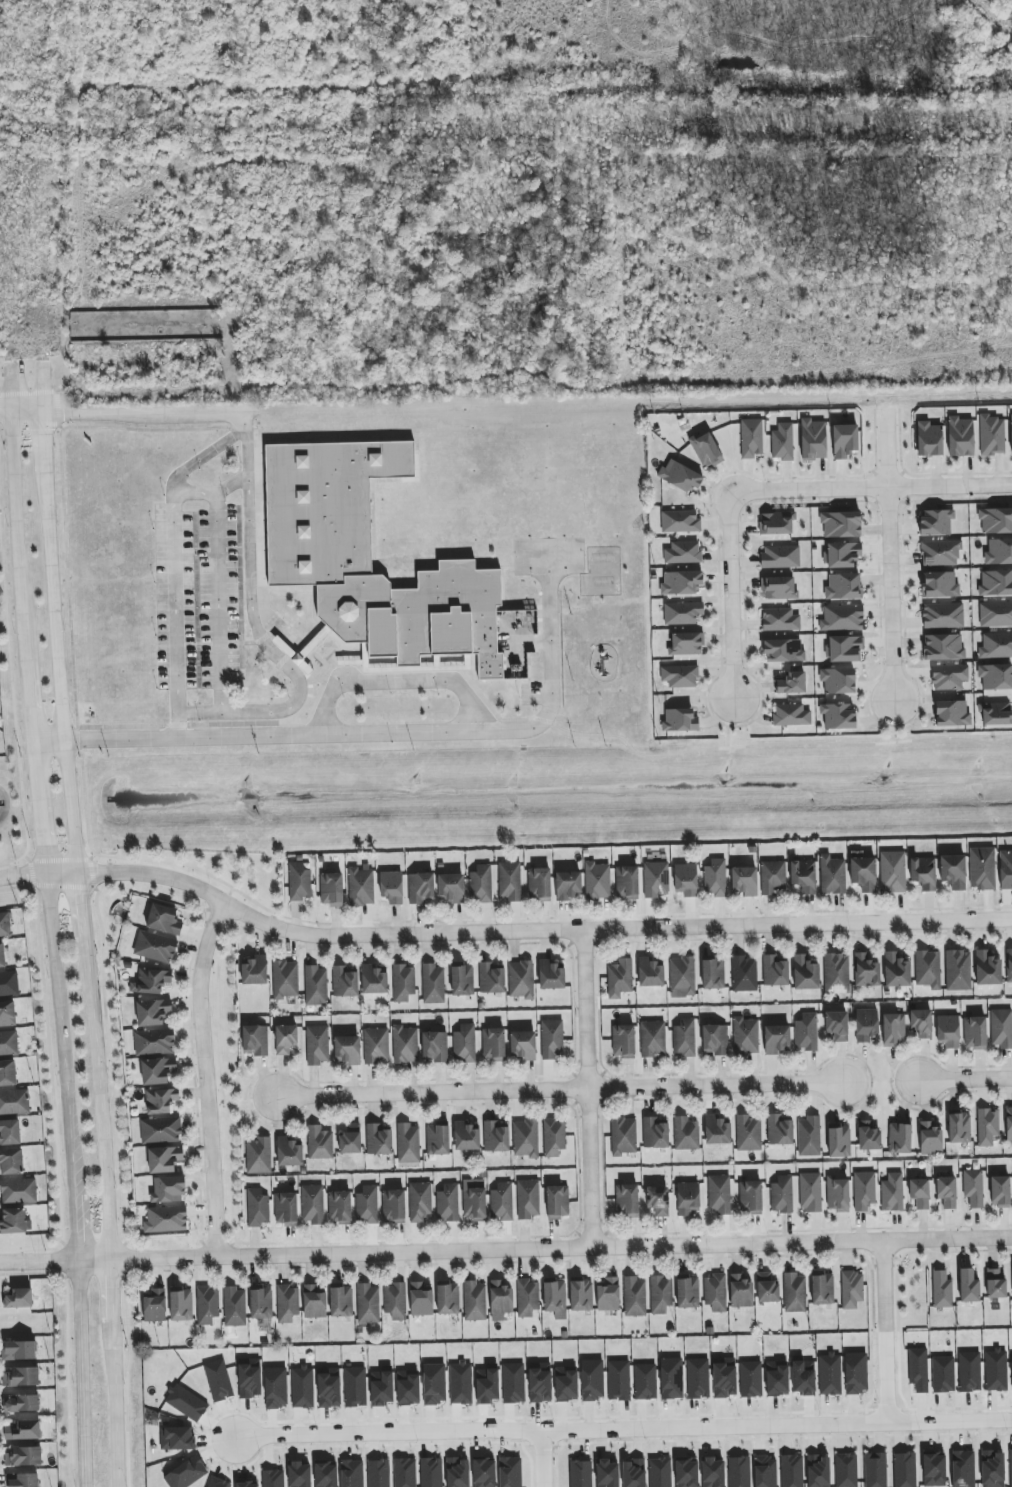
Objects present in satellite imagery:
road: (10, 386)
road: (43, 386)
road: (21, 408)
road: (150, 413)
building: (1011, 432)
building: (991, 435)
building: (960, 437)
building: (751, 438)
building: (813, 439)
building: (929, 439)
building: (844, 440)
building: (782, 442)
building: (706, 450)
road: (203, 456)
building: (680, 476)
road: (231, 485)
road: (767, 488)
building: (996, 520)
building: (680, 521)
building: (936, 522)
building: (776, 523)
building: (841, 524)
road: (16, 534)
building: (683, 552)
building: (999, 552)
building: (940, 553)
building: (842, 554)
park: (547, 556)
building: (780, 557)
road: (891, 557)
building: (369, 558)
road: (174, 582)
building: (680, 582)
building: (996, 583)
building: (940, 585)
building: (843, 587)
building: (778, 588)
road: (217, 603)
road: (251, 612)
building: (682, 613)
building: (995, 614)
building: (943, 615)
building: (842, 618)
building: (780, 620)
road: (57, 641)
road: (517, 644)
building: (996, 646)
building: (943, 647)
building: (844, 648)
building: (783, 651)
building: (680, 676)
building: (995, 676)
building: (949, 677)
building: (838, 680)
road: (399, 681)
building: (791, 683)
road: (32, 702)
road: (186, 713)
building: (952, 714)
building: (995, 714)
building: (791, 715)
building: (838, 716)
building: (679, 720)
road: (889, 724)
road: (727, 726)
road: (374, 734)
road: (772, 744)
road: (41, 809)
building: (982, 868)
building: (1005, 868)
building: (953, 871)
building: (892, 872)
building: (863, 873)
building: (923, 873)
building: (803, 875)
building: (832, 875)
building: (715, 878)
building: (773, 878)
building: (656, 879)
building: (686, 879)
building: (299, 881)
building: (509, 881)
building: (597, 881)
building: (744, 881)
building: (627, 882)
building: (480, 884)
building: (539, 884)
building: (567, 885)
building: (361, 886)
building: (391, 887)
building: (421, 888)
building: (451, 888)
building: (331, 889)
building: (163, 919)
building: (5, 925)
road: (499, 934)
road: (83, 936)
building: (155, 947)
building: (2, 956)
building: (1009, 965)
building: (987, 968)
building: (927, 969)
building: (255, 970)
building: (775, 970)
building: (866, 970)
building: (896, 970)
building: (958, 970)
building: (650, 973)
building: (805, 973)
building: (836, 973)
building: (713, 974)
building: (744, 974)
building: (551, 976)
building: (682, 977)
building: (492, 978)
building: (620, 978)
building: (285, 979)
building: (462, 979)
building: (521, 979)
building: (345, 980)
building: (150, 981)
building: (374, 982)
building: (403, 982)
building: (9, 983)
building: (433, 983)
building: (316, 986)
building: (152, 1012)
building: (7, 1014)
road: (60, 1019)
building: (921, 1023)
building: (866, 1024)
building: (837, 1025)
building: (1001, 1028)
building: (893, 1030)
building: (948, 1031)
building: (806, 1032)
building: (975, 1033)
building: (745, 1036)
building: (684, 1038)
building: (285, 1039)
building: (552, 1039)
building: (653, 1039)
building: (715, 1039)
building: (776, 1039)
building: (255, 1040)
building: (623, 1041)
building: (154, 1042)
building: (8, 1043)
building: (405, 1044)
building: (464, 1044)
building: (493, 1044)
building: (317, 1045)
building: (523, 1045)
building: (376, 1046)
building: (434, 1046)
building: (347, 1050)
building: (157, 1070)
building: (7, 1073)
road: (208, 1077)
road: (965, 1078)
road: (560, 1089)
road: (589, 1090)
building: (160, 1100)
building: (14, 1102)
building: (1008, 1123)
building: (987, 1126)
building: (959, 1127)
road: (100, 1128)
building: (780, 1129)
building: (161, 1130)
building: (716, 1131)
building: (9, 1132)
building: (655, 1133)
building: (686, 1133)
building: (748, 1133)
building: (466, 1136)
building: (496, 1136)
building: (624, 1136)
building: (809, 1136)
building: (868, 1136)
building: (553, 1137)
building: (525, 1138)
building: (899, 1138)
building: (930, 1138)
building: (350, 1139)
building: (378, 1140)
building: (438, 1140)
building: (839, 1142)
building: (319, 1143)
building: (408, 1143)
building: (289, 1152)
building: (258, 1155)
building: (164, 1159)
building: (11, 1161)
building: (973, 1188)
building: (168, 1190)
building: (864, 1190)
building: (18, 1191)
building: (1000, 1191)
building: (810, 1192)
building: (892, 1192)
building: (947, 1192)
building: (919, 1193)
building: (782, 1194)
building: (837, 1194)
building: (719, 1195)
building: (688, 1198)
building: (750, 1198)
building: (474, 1199)
building: (528, 1199)
building: (658, 1200)
building: (420, 1201)
building: (627, 1201)
building: (502, 1202)
building: (557, 1202)
building: (448, 1203)
building: (312, 1204)
building: (367, 1205)
building: (393, 1206)
building: (257, 1208)
building: (340, 1208)
building: (285, 1209)
road: (77, 1211)
building: (166, 1219)
building: (14, 1221)
road: (615, 1247)
road: (163, 1257)
road: (94, 1260)
road: (40, 1261)
building: (995, 1285)
building: (968, 1286)
building: (767, 1287)
building: (822, 1289)
building: (851, 1289)
building: (942, 1290)
building: (740, 1291)
building: (715, 1292)
building: (688, 1293)
building: (794, 1293)
building: (608, 1294)
building: (660, 1294)
building: (581, 1295)
building: (501, 1296)
building: (527, 1297)
building: (634, 1297)
building: (19, 1298)
building: (448, 1298)
building: (555, 1298)
building: (421, 1299)
building: (314, 1301)
building: (341, 1301)
building: (395, 1301)
building: (474, 1301)
road: (108, 1303)
building: (261, 1303)
building: (287, 1304)
building: (368, 1304)
building: (154, 1305)
building: (181, 1305)
building: (206, 1305)
building: (234, 1307)
road: (884, 1334)
building: (19, 1350)
building: (918, 1369)
building: (996, 1370)
building: (969, 1372)
building: (856, 1373)
building: (1011, 1373)
road: (81, 1374)
building: (830, 1374)
building: (943, 1374)
building: (21, 1377)
building: (804, 1377)
building: (671, 1378)
building: (697, 1378)
building: (724, 1378)
building: (777, 1378)
building: (250, 1379)
building: (751, 1379)
building: (218, 1380)
building: (592, 1380)
building: (619, 1380)
building: (645, 1382)
building: (460, 1383)
building: (513, 1383)
building: (540, 1383)
building: (434, 1384)
building: (566, 1384)
building: (487, 1385)
building: (302, 1387)
building: (355, 1387)
building: (408, 1387)
building: (275, 1388)
building: (329, 1388)
building: (381, 1388)
building: (21, 1403)
building: (186, 1403)
road: (111, 1417)
building: (22, 1430)
road: (622, 1433)
building: (177, 1438)
building: (23, 1456)
road: (542, 1461)
building: (1010, 1468)
building: (934, 1469)
building: (963, 1469)
building: (992, 1469)
building: (846, 1470)
building: (875, 1470)
building: (904, 1470)
building: (765, 1471)
building: (792, 1471)
building: (818, 1471)
building: (405, 1472)
building: (431, 1472)
building: (457, 1472)
building: (510, 1472)
building: (660, 1472)
building: (712, 1472)
building: (739, 1472)
building: (187, 1473)
building: (352, 1473)
building: (378, 1473)
building: (484, 1473)
building: (607, 1473)
building: (633, 1473)
building: (686, 1473)
building: (580, 1474)
building: (299, 1475)
building: (325, 1475)
building: (273, 1478)
building: (22, 1480)
building: (218, 1483)
building: (247, 1484)

